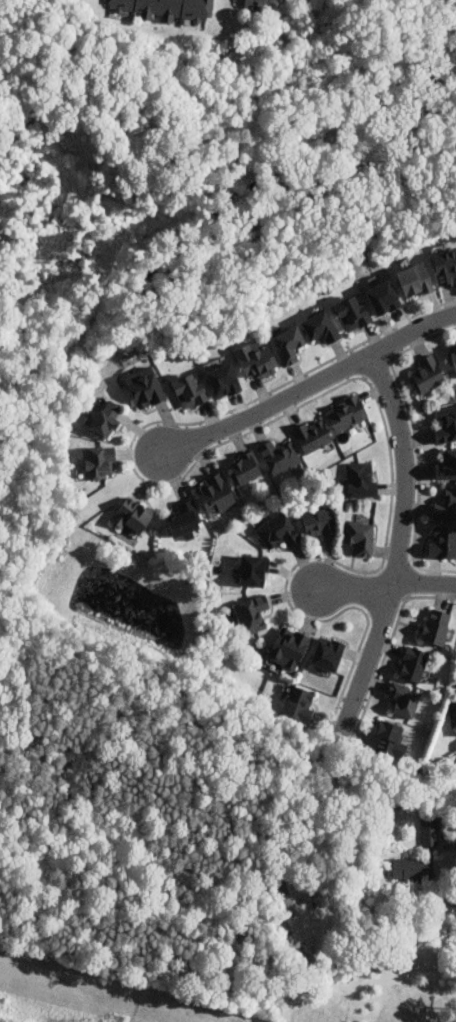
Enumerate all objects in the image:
building: (251, 4)
building: (167, 8)
building: (445, 267)
building: (415, 280)
building: (381, 297)
building: (352, 314)
building: (320, 328)
building: (288, 345)
building: (454, 354)
building: (256, 359)
building: (429, 375)
building: (221, 380)
road: (308, 385)
building: (145, 389)
building: (189, 392)
building: (348, 414)
building: (107, 420)
building: (447, 427)
building: (313, 437)
building: (280, 458)
building: (99, 464)
building: (447, 467)
building: (246, 470)
building: (361, 481)
building: (216, 496)
building: (447, 508)
building: (134, 517)
building: (185, 521)
building: (320, 525)
building: (279, 532)
building: (359, 534)
building: (443, 544)
road: (398, 545)
building: (253, 571)
road: (385, 585)
building: (252, 615)
building: (437, 628)
building: (289, 649)
building: (327, 652)
building: (414, 665)
building: (404, 701)
building: (299, 705)
building: (389, 739)
building: (430, 832)
building: (413, 870)
power tower: (116, 1021)

